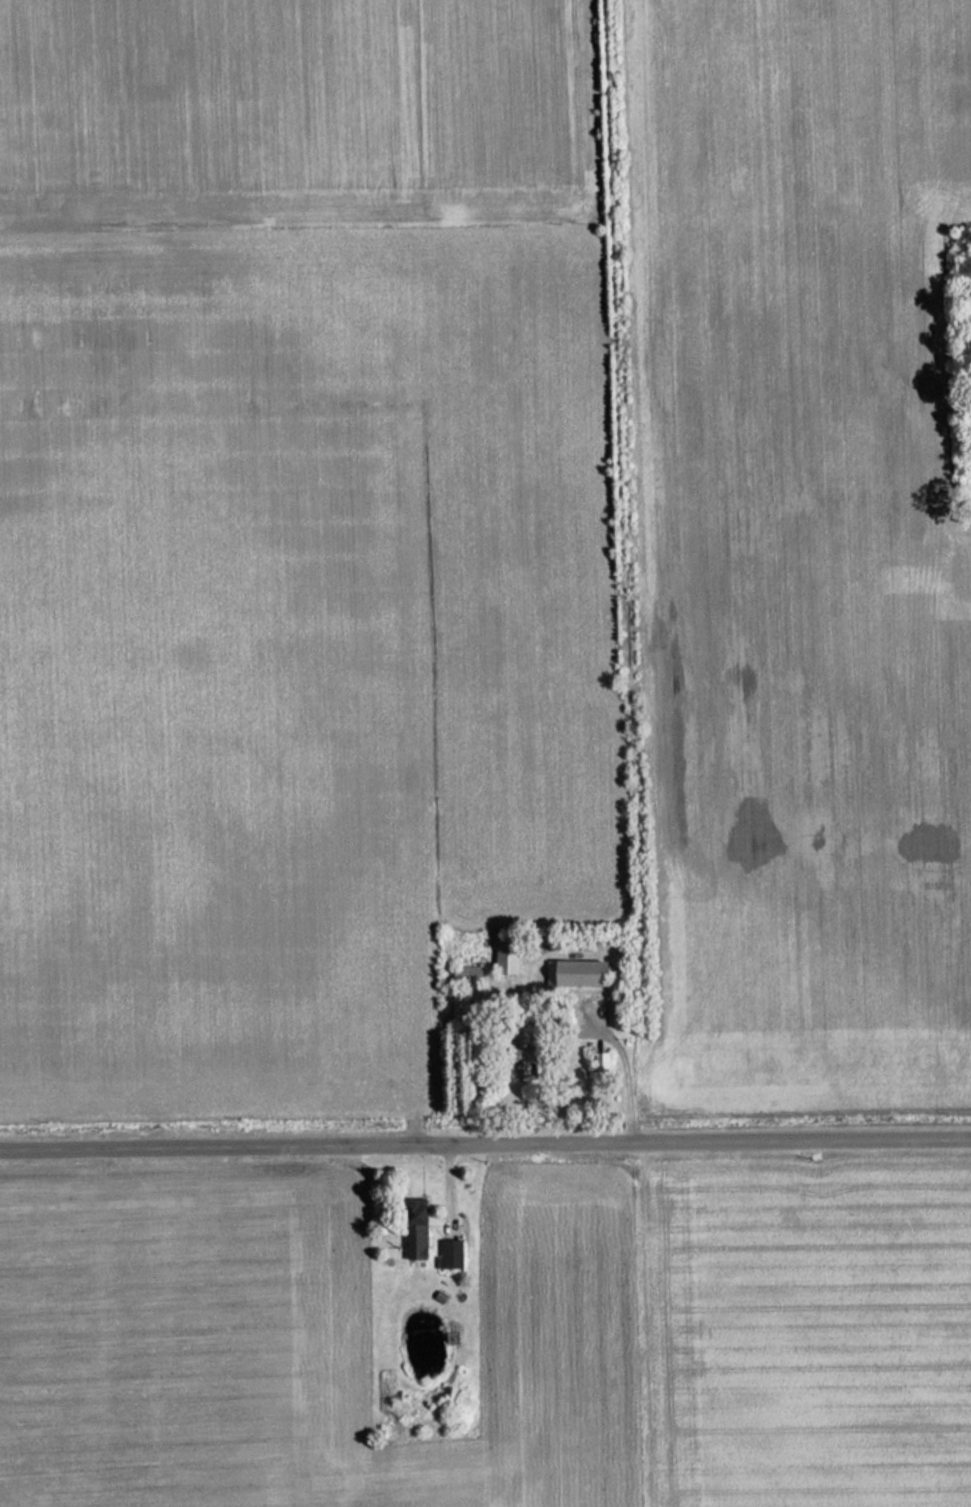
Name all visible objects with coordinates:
crop: (291, 116)
crop: (800, 550)
crop: (290, 653)
building: (502, 954)
building: (464, 972)
building: (572, 974)
building: (458, 1012)
building: (614, 1016)
building: (520, 1052)
road: (485, 1137)
building: (413, 1233)
building: (446, 1255)
crop: (801, 1336)
crop: (294, 1342)

